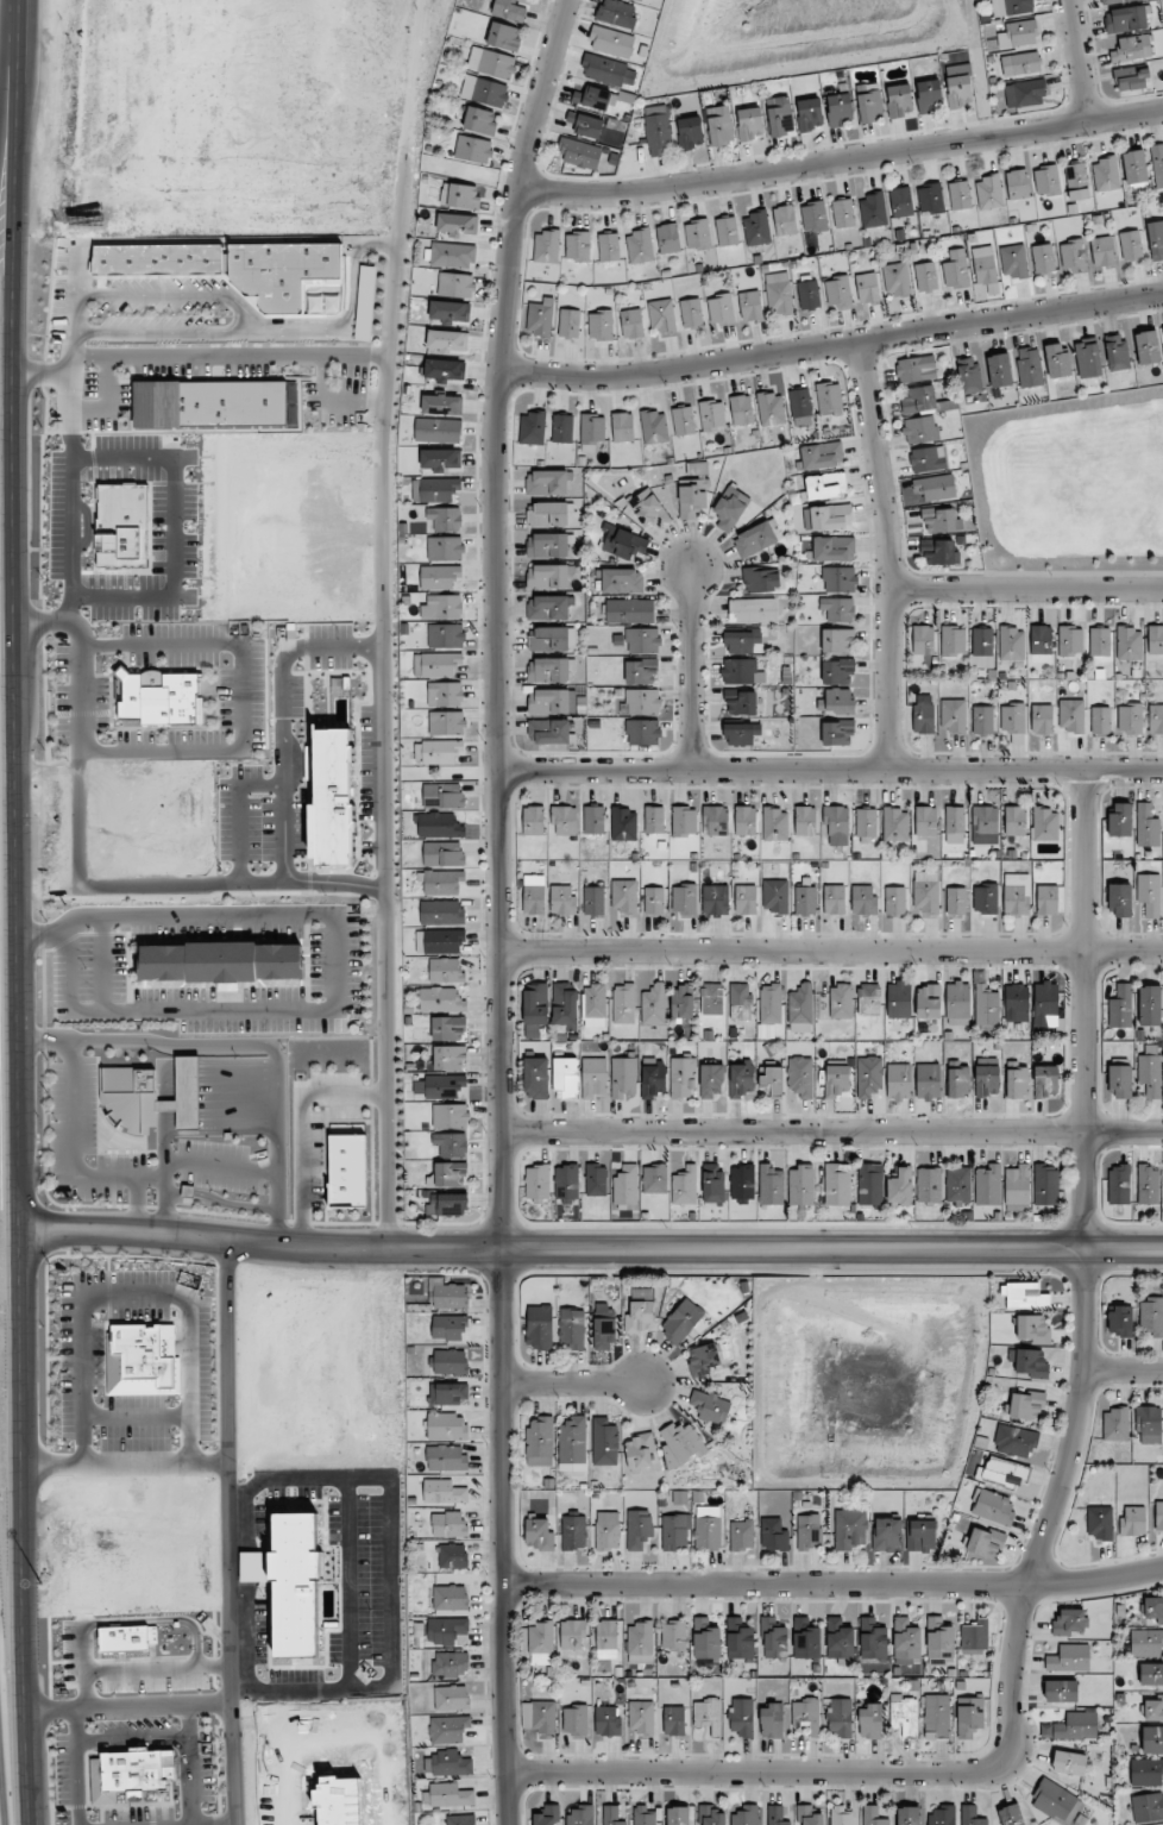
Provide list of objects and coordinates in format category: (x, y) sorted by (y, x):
building: (640, 0)
building: (1112, 0)
building: (1011, 7)
building: (509, 8)
building: (616, 13)
building: (1125, 19)
building: (1019, 33)
building: (504, 36)
building: (611, 42)
road: (5, 46)
building: (1132, 49)
road: (1079, 62)
building: (491, 63)
building: (1020, 63)
building: (608, 70)
building: (1132, 77)
building: (484, 90)
building: (958, 90)
building: (1025, 93)
building: (929, 96)
building: (592, 98)
building: (899, 100)
building: (869, 106)
building: (840, 109)
building: (810, 114)
building: (779, 117)
building: (479, 120)
building: (583, 124)
building: (749, 124)
building: (719, 125)
building: (658, 130)
building: (689, 132)
building: (473, 149)
building: (579, 153)
road: (841, 163)
building: (1157, 164)
building: (1134, 167)
building: (1105, 175)
building: (1045, 180)
building: (1076, 181)
building: (1017, 184)
building: (988, 192)
building: (960, 195)
building: (459, 196)
building: (930, 199)
building: (900, 202)
building: (872, 211)
building: (843, 213)
building: (813, 217)
building: (785, 220)
building: (457, 224)
building: (756, 228)
building: (727, 231)
building: (697, 234)
building: (667, 238)
building: (1156, 239)
building: (1131, 244)
building: (640, 245)
building: (546, 246)
building: (577, 246)
building: (609, 246)
building: (1102, 251)
building: (452, 255)
building: (1073, 255)
building: (1043, 258)
building: (1013, 261)
building: (158, 262)
building: (985, 268)
building: (955, 269)
building: (282, 272)
building: (925, 277)
building: (897, 280)
building: (455, 284)
building: (867, 288)
building: (837, 291)
building: (779, 294)
building: (809, 295)
building: (365, 303)
building: (332, 305)
building: (750, 305)
building: (721, 309)
building: (448, 312)
building: (691, 313)
building: (661, 315)
road: (246, 318)
building: (540, 318)
road: (350, 319)
building: (568, 324)
building: (631, 324)
building: (601, 325)
road: (71, 335)
building: (447, 340)
road: (831, 347)
building: (1146, 347)
building: (1117, 352)
road: (228, 355)
building: (1087, 358)
building: (1057, 359)
building: (1029, 366)
building: (444, 369)
building: (916, 369)
road: (39, 370)
building: (999, 370)
building: (968, 375)
building: (829, 399)
building: (918, 399)
road: (331, 400)
building: (799, 402)
road: (108, 403)
building: (218, 403)
building: (441, 404)
building: (741, 409)
building: (771, 409)
building: (711, 414)
building: (683, 420)
building: (622, 427)
building: (654, 427)
building: (532, 428)
building: (562, 428)
building: (592, 428)
building: (438, 429)
building: (919, 429)
building: (822, 454)
building: (440, 459)
building: (926, 459)
building: (697, 468)
building: (548, 482)
building: (825, 485)
building: (935, 487)
park: (1070, 487)
building: (434, 489)
building: (692, 497)
building: (730, 508)
building: (648, 509)
building: (548, 514)
building: (830, 516)
building: (445, 519)
building: (938, 520)
building: (754, 540)
building: (623, 543)
building: (547, 545)
building: (445, 548)
building: (831, 548)
building: (939, 551)
road: (886, 554)
building: (439, 576)
building: (547, 576)
building: (761, 579)
building: (838, 579)
building: (622, 581)
road: (1026, 588)
building: (442, 607)
building: (548, 607)
building: (837, 609)
building: (629, 610)
building: (752, 610)
building: (446, 635)
building: (552, 639)
building: (923, 639)
building: (1041, 639)
building: (1155, 639)
building: (642, 640)
building: (837, 640)
building: (1070, 640)
building: (741, 641)
building: (953, 641)
building: (1129, 642)
building: (1100, 644)
building: (1012, 646)
building: (981, 647)
road: (78, 654)
building: (440, 664)
road: (686, 667)
building: (549, 670)
building: (640, 671)
building: (740, 671)
building: (837, 672)
building: (445, 694)
road: (245, 696)
building: (151, 697)
building: (552, 701)
building: (642, 701)
building: (836, 702)
building: (741, 703)
building: (953, 715)
building: (1070, 715)
building: (923, 719)
building: (1012, 719)
building: (1041, 719)
building: (1130, 719)
building: (1156, 719)
building: (1100, 720)
building: (982, 721)
building: (446, 722)
building: (548, 730)
building: (643, 732)
building: (741, 733)
building: (837, 733)
road: (382, 742)
building: (438, 752)
road: (830, 767)
building: (442, 796)
building: (333, 799)
building: (533, 820)
building: (565, 820)
building: (593, 820)
building: (654, 820)
building: (715, 820)
building: (805, 820)
building: (836, 820)
building: (954, 820)
building: (986, 820)
building: (684, 821)
building: (744, 821)
building: (925, 821)
building: (1014, 821)
building: (1120, 821)
building: (866, 822)
building: (623, 823)
building: (441, 824)
building: (775, 824)
building: (895, 824)
building: (1146, 826)
building: (442, 854)
building: (442, 882)
building: (925, 891)
building: (1016, 893)
building: (1149, 893)
building: (534, 895)
building: (775, 896)
building: (624, 897)
building: (985, 898)
building: (562, 899)
building: (684, 899)
building: (713, 899)
building: (744, 899)
building: (834, 899)
building: (863, 899)
building: (1046, 899)
building: (1119, 899)
building: (593, 901)
building: (654, 901)
building: (805, 901)
building: (894, 901)
building: (955, 901)
road: (499, 909)
road: (12, 912)
building: (441, 912)
road: (208, 916)
road: (48, 933)
building: (442, 940)
road: (831, 953)
building: (220, 962)
road: (335, 962)
road: (102, 964)
road: (70, 967)
building: (446, 971)
building: (711, 998)
building: (441, 999)
building: (868, 999)
building: (898, 999)
building: (957, 1001)
building: (681, 1002)
building: (740, 1002)
building: (840, 1002)
building: (928, 1002)
building: (623, 1003)
building: (1017, 1003)
building: (653, 1004)
building: (769, 1004)
building: (987, 1004)
building: (536, 1005)
building: (565, 1005)
building: (593, 1005)
building: (1149, 1005)
building: (1120, 1006)
building: (800, 1008)
road: (203, 1010)
building: (448, 1028)
road: (122, 1040)
road: (228, 1047)
building: (448, 1056)
road: (220, 1061)
road: (221, 1070)
building: (1150, 1074)
building: (869, 1075)
building: (566, 1077)
building: (593, 1077)
building: (623, 1077)
building: (800, 1077)
road: (221, 1078)
building: (536, 1078)
building: (681, 1078)
building: (836, 1079)
building: (653, 1080)
building: (711, 1080)
building: (741, 1080)
building: (773, 1080)
building: (986, 1080)
building: (1045, 1080)
building: (1120, 1080)
building: (899, 1081)
building: (928, 1081)
building: (958, 1081)
building: (1017, 1081)
building: (444, 1085)
road: (221, 1087)
road: (221, 1096)
building: (150, 1097)
road: (221, 1104)
road: (165, 1111)
road: (221, 1115)
building: (451, 1116)
road: (222, 1123)
road: (301, 1129)
road: (222, 1130)
road: (830, 1130)
road: (74, 1136)
building: (451, 1143)
road: (278, 1153)
road: (222, 1167)
building: (346, 1169)
building: (451, 1174)
building: (596, 1179)
building: (654, 1179)
building: (538, 1181)
building: (712, 1181)
building: (566, 1183)
building: (742, 1183)
building: (837, 1184)
building: (1118, 1184)
building: (625, 1185)
building: (771, 1185)
building: (801, 1185)
building: (869, 1185)
building: (929, 1185)
building: (957, 1185)
building: (988, 1185)
building: (1017, 1185)
building: (1045, 1185)
building: (1148, 1185)
building: (685, 1186)
building: (900, 1186)
building: (447, 1204)
road: (138, 1205)
road: (164, 1205)
road: (590, 1248)
building: (447, 1294)
building: (1025, 1296)
building: (640, 1316)
building: (1151, 1317)
building: (681, 1321)
building: (1119, 1321)
building: (539, 1327)
building: (448, 1328)
building: (571, 1328)
building: (603, 1328)
building: (1032, 1329)
building: (704, 1359)
building: (450, 1361)
building: (1031, 1362)
road: (1123, 1369)
road: (572, 1385)
building: (448, 1393)
building: (1026, 1404)
building: (710, 1405)
building: (1115, 1424)
building: (1149, 1424)
building: (445, 1426)
building: (540, 1441)
building: (1016, 1441)
building: (605, 1442)
building: (680, 1444)
building: (573, 1448)
building: (640, 1451)
building: (446, 1457)
building: (1004, 1472)
building: (444, 1492)
building: (992, 1506)
road: (1048, 1512)
building: (1158, 1516)
building: (1099, 1522)
building: (1133, 1522)
building: (448, 1524)
building: (708, 1528)
building: (637, 1529)
building: (850, 1529)
building: (606, 1530)
building: (809, 1531)
road: (226, 1532)
building: (573, 1532)
building: (675, 1532)
building: (539, 1534)
building: (742, 1535)
building: (773, 1535)
building: (887, 1535)
building: (922, 1535)
building: (985, 1542)
building: (452, 1556)
building: (251, 1566)
building: (295, 1582)
road: (834, 1586)
building: (450, 1598)
building: (1153, 1608)
building: (1070, 1622)
building: (445, 1629)
building: (573, 1635)
building: (673, 1635)
building: (974, 1637)
building: (773, 1638)
building: (838, 1638)
building: (606, 1639)
building: (738, 1639)
building: (805, 1639)
building: (872, 1639)
building: (705, 1641)
building: (906, 1641)
building: (540, 1642)
building: (640, 1642)
building: (1145, 1642)
building: (1069, 1658)
building: (450, 1664)
building: (1151, 1674)
building: (1061, 1691)
building: (451, 1698)
road: (126, 1705)
building: (1153, 1706)
building: (805, 1713)
building: (708, 1714)
building: (904, 1714)
building: (936, 1716)
building: (969, 1716)
building: (641, 1717)
building: (741, 1717)
building: (840, 1718)
building: (542, 1719)
building: (574, 1720)
building: (673, 1720)
building: (771, 1720)
building: (606, 1721)
building: (870, 1721)
building: (1073, 1726)
building: (447, 1729)
road: (5, 1736)
road: (133, 1738)
building: (1152, 1739)
road: (190, 1763)
building: (446, 1763)
building: (1069, 1763)
road: (76, 1766)
road: (49, 1767)
building: (1146, 1771)
building: (450, 1795)
building: (1054, 1801)
building: (1148, 1807)
building: (580, 1814)
building: (712, 1814)
building: (942, 1814)
building: (546, 1815)
building: (611, 1815)
building: (643, 1815)
building: (678, 1815)
building: (746, 1815)
building: (775, 1815)
building: (807, 1815)
building: (841, 1815)
building: (873, 1815)
building: (907, 1815)
building: (970, 1815)
building: (1011, 1815)
building: (460, 1819)
road: (201, 1823)

